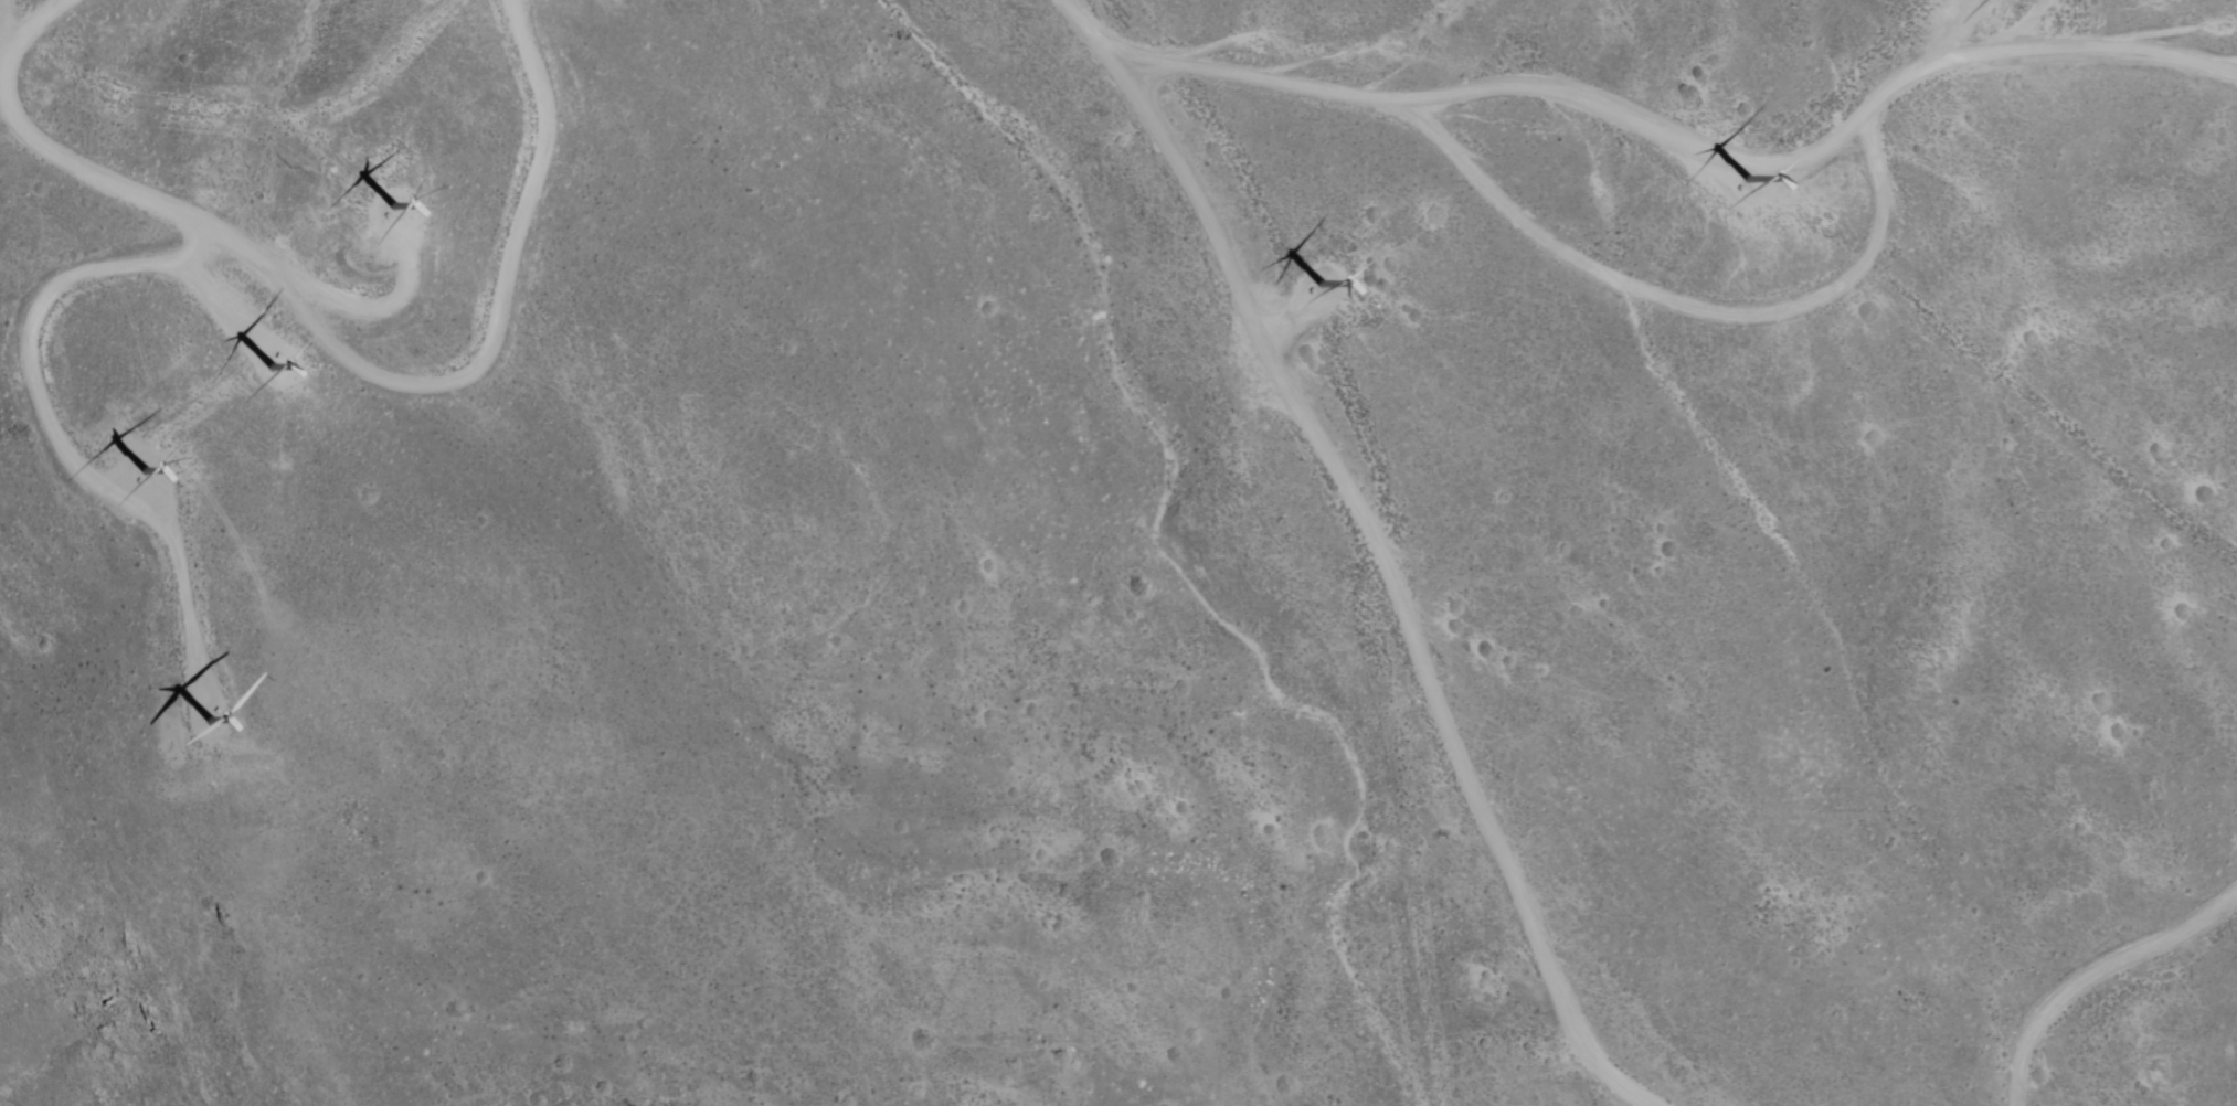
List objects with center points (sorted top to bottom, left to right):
wind turbine: (1750, 178)
wind turbine: (391, 205)
wind turbine: (1322, 285)
road: (1648, 293)
road: (341, 344)
wind turbine: (278, 355)
wind turbine: (148, 477)
road: (1374, 546)
wind turbine: (218, 725)
road: (2096, 978)

